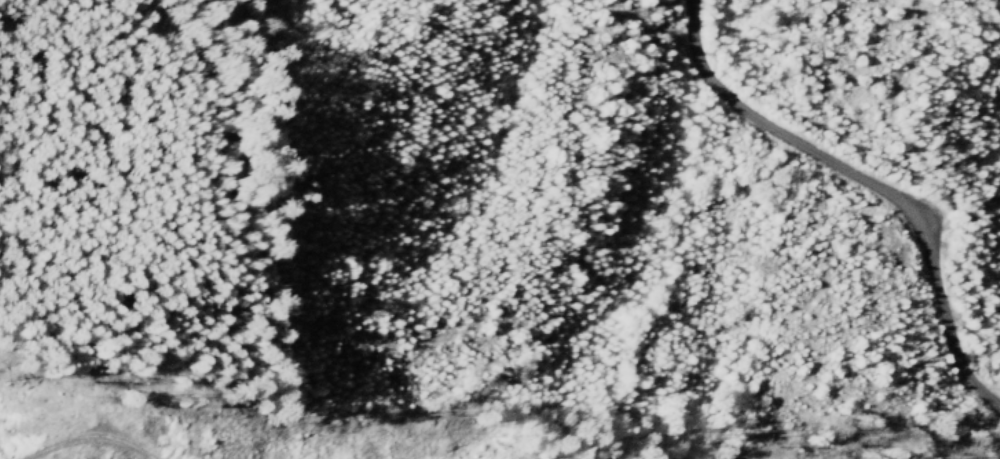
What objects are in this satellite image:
road: (866, 185)
road: (89, 438)

